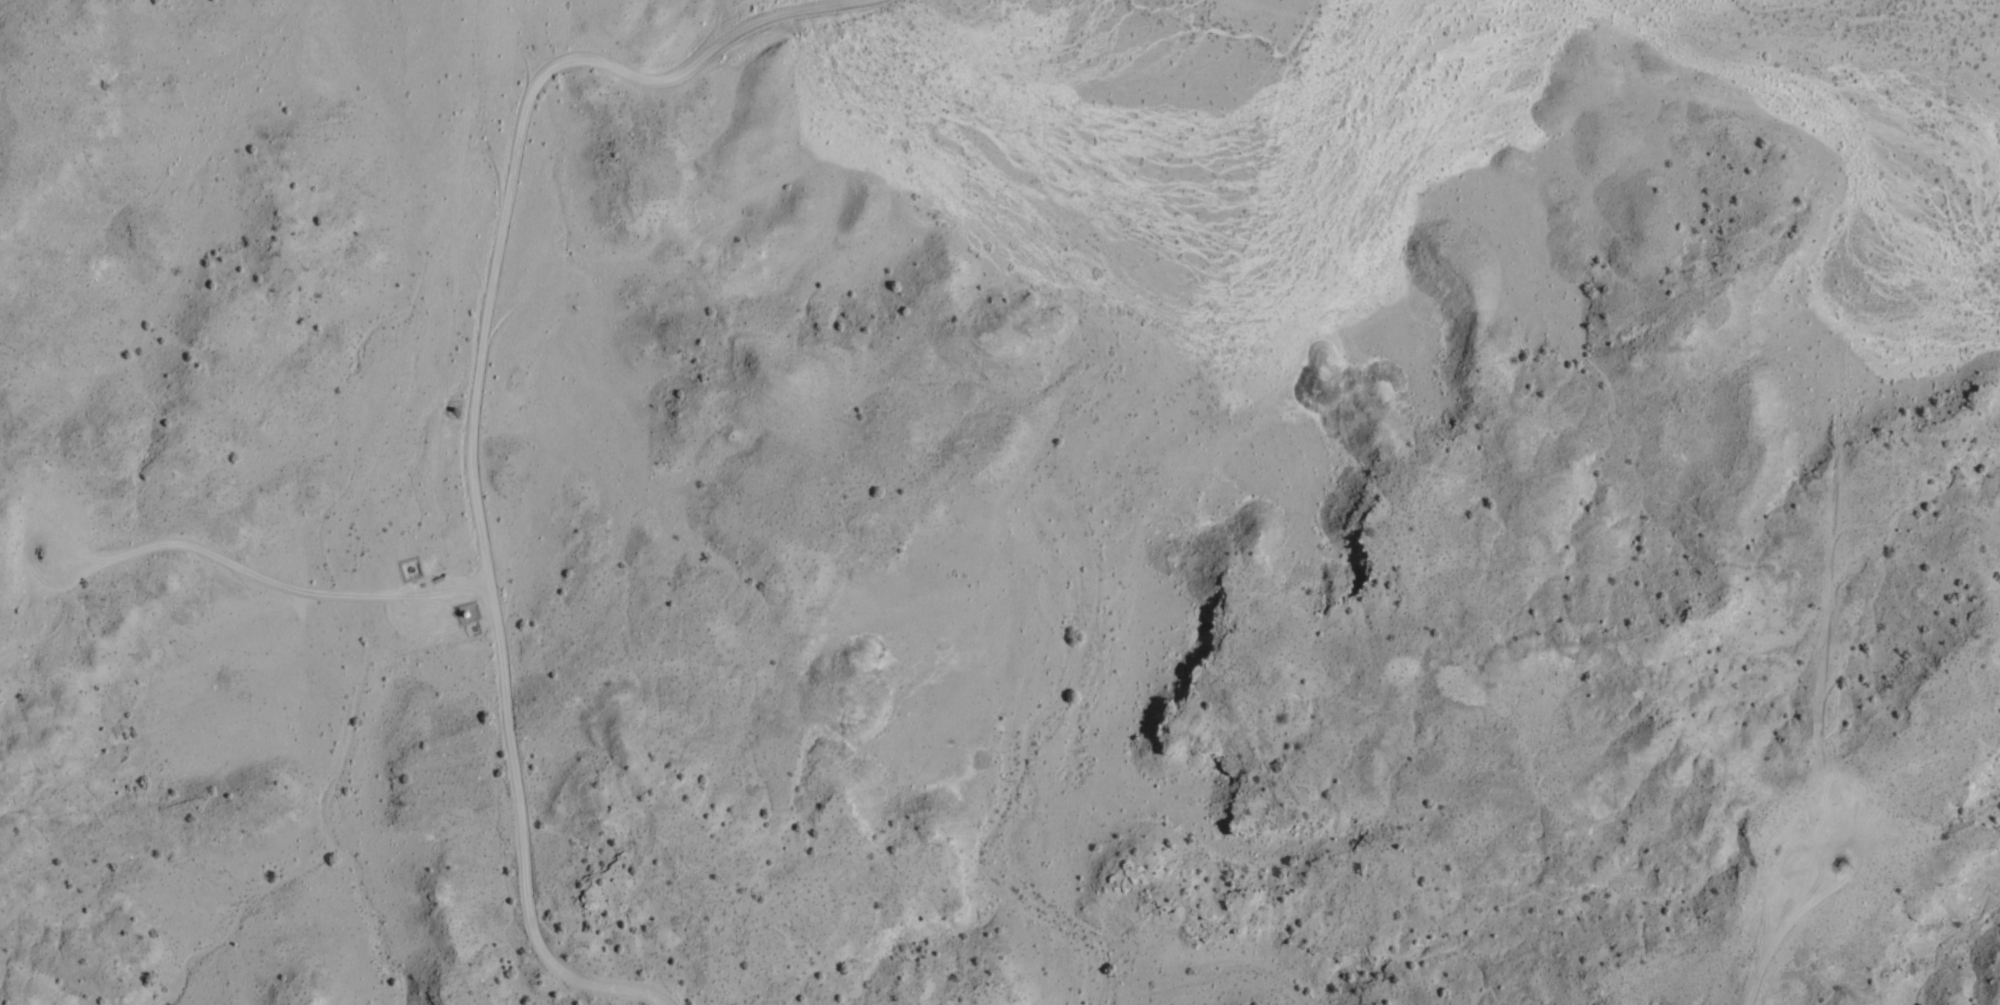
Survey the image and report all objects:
road: (472, 416)
road: (203, 546)

